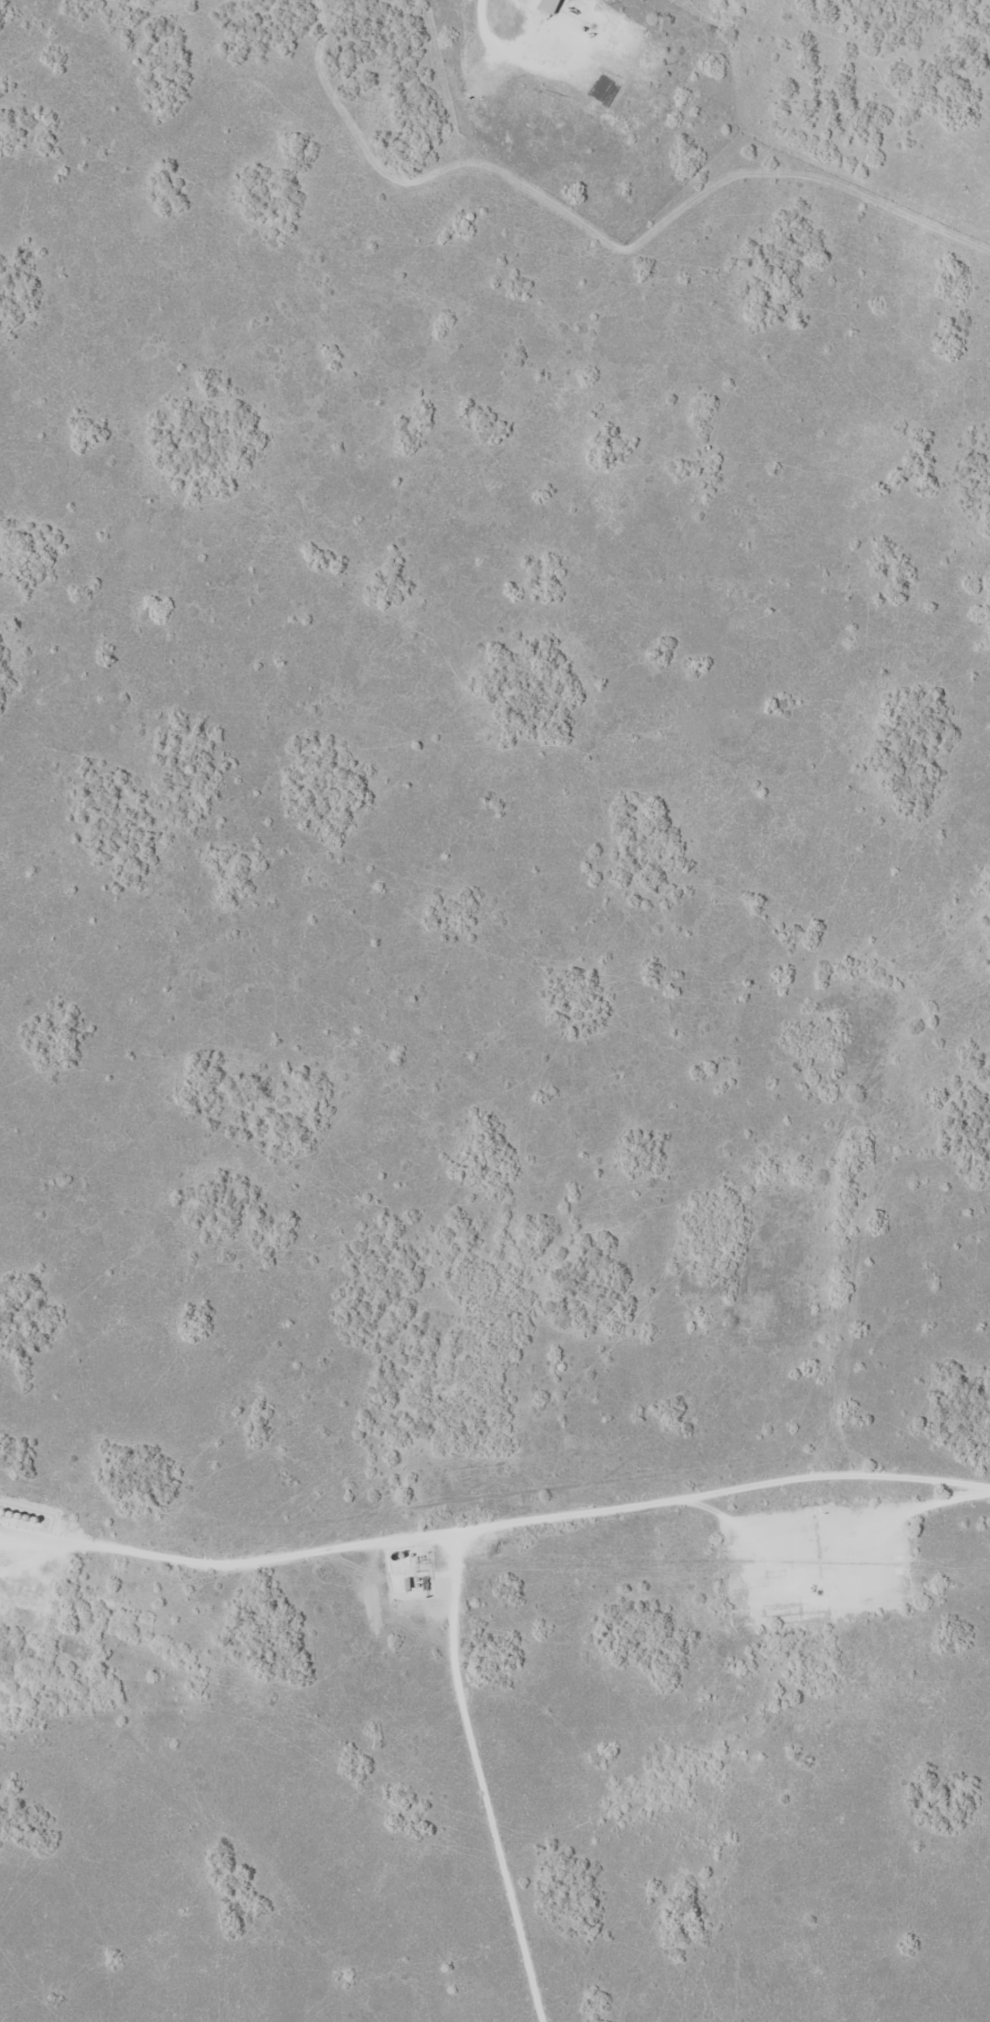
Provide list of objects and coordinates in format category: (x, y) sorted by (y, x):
building: (552, 5)

